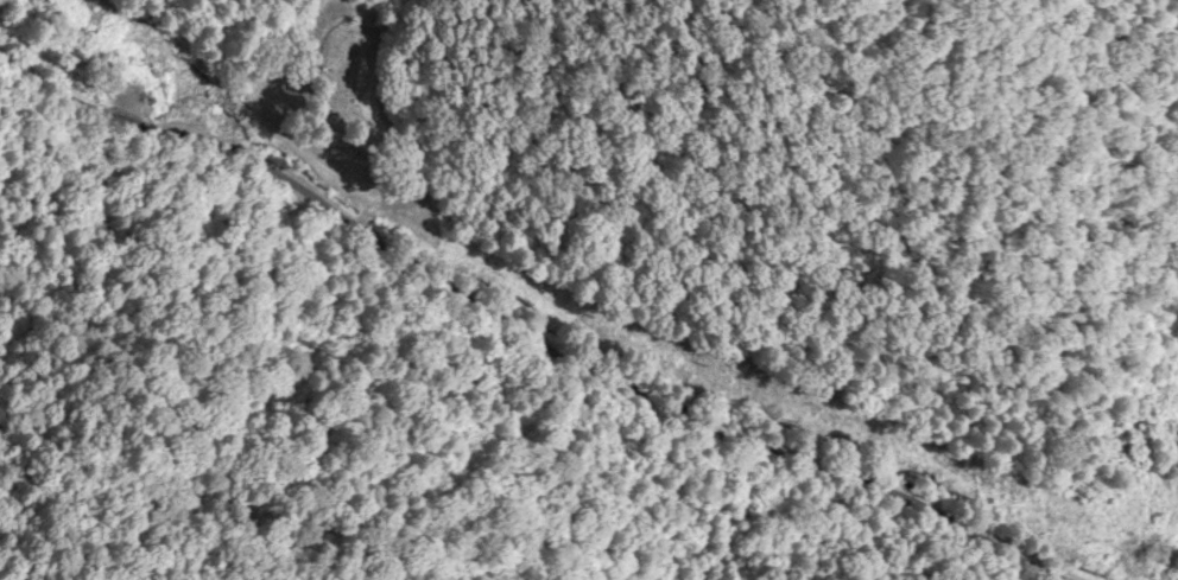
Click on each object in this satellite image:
road: (424, 359)

